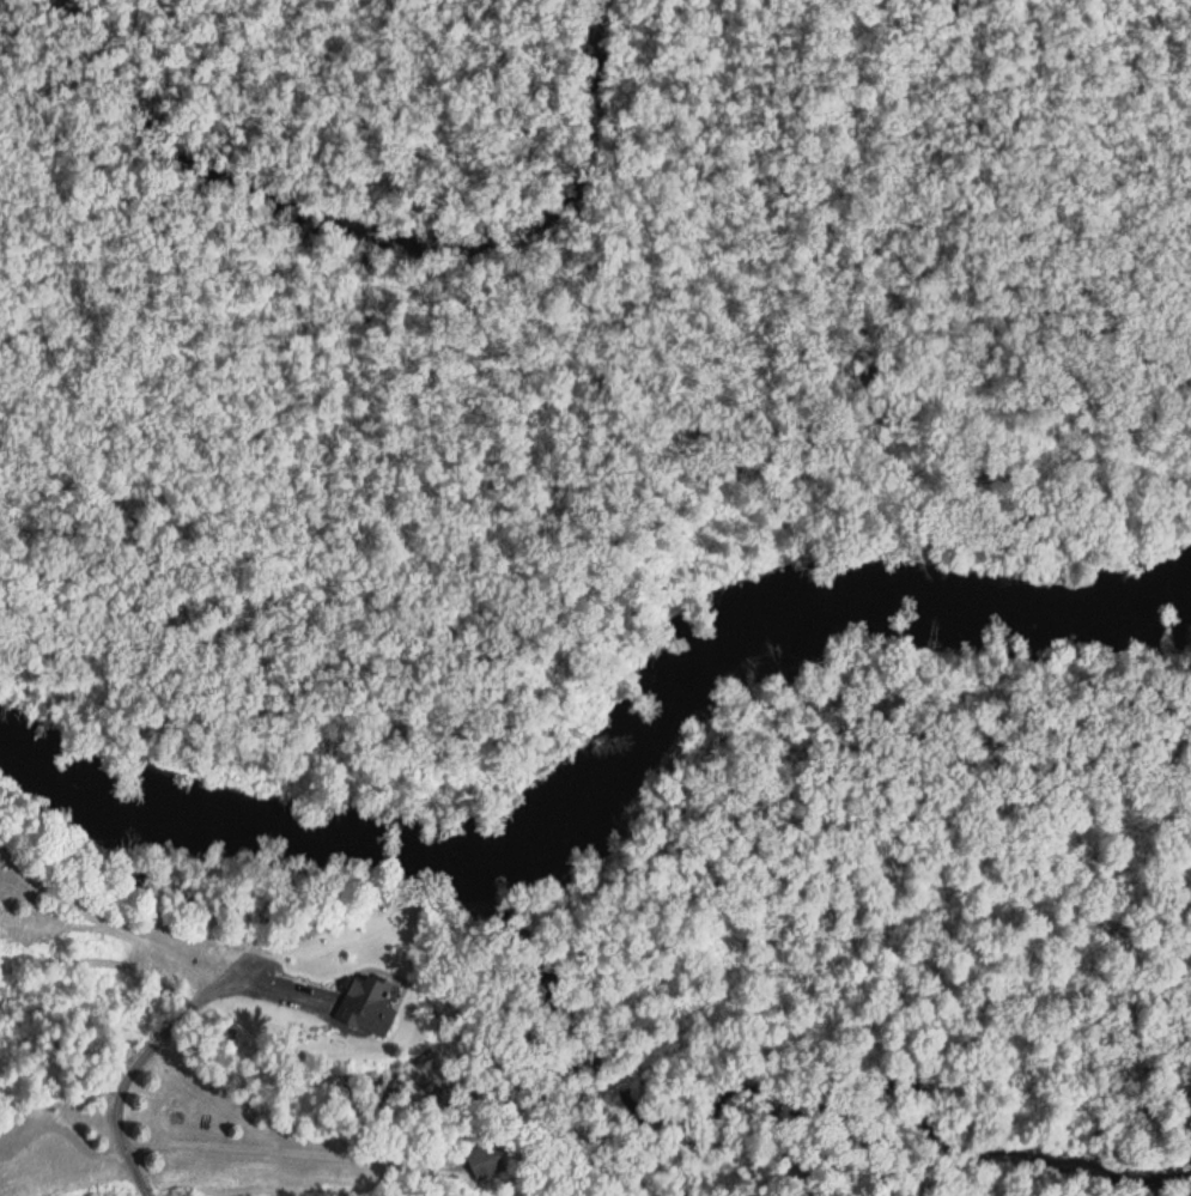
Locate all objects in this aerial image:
river: (899, 602)
river: (338, 840)
building: (363, 998)

